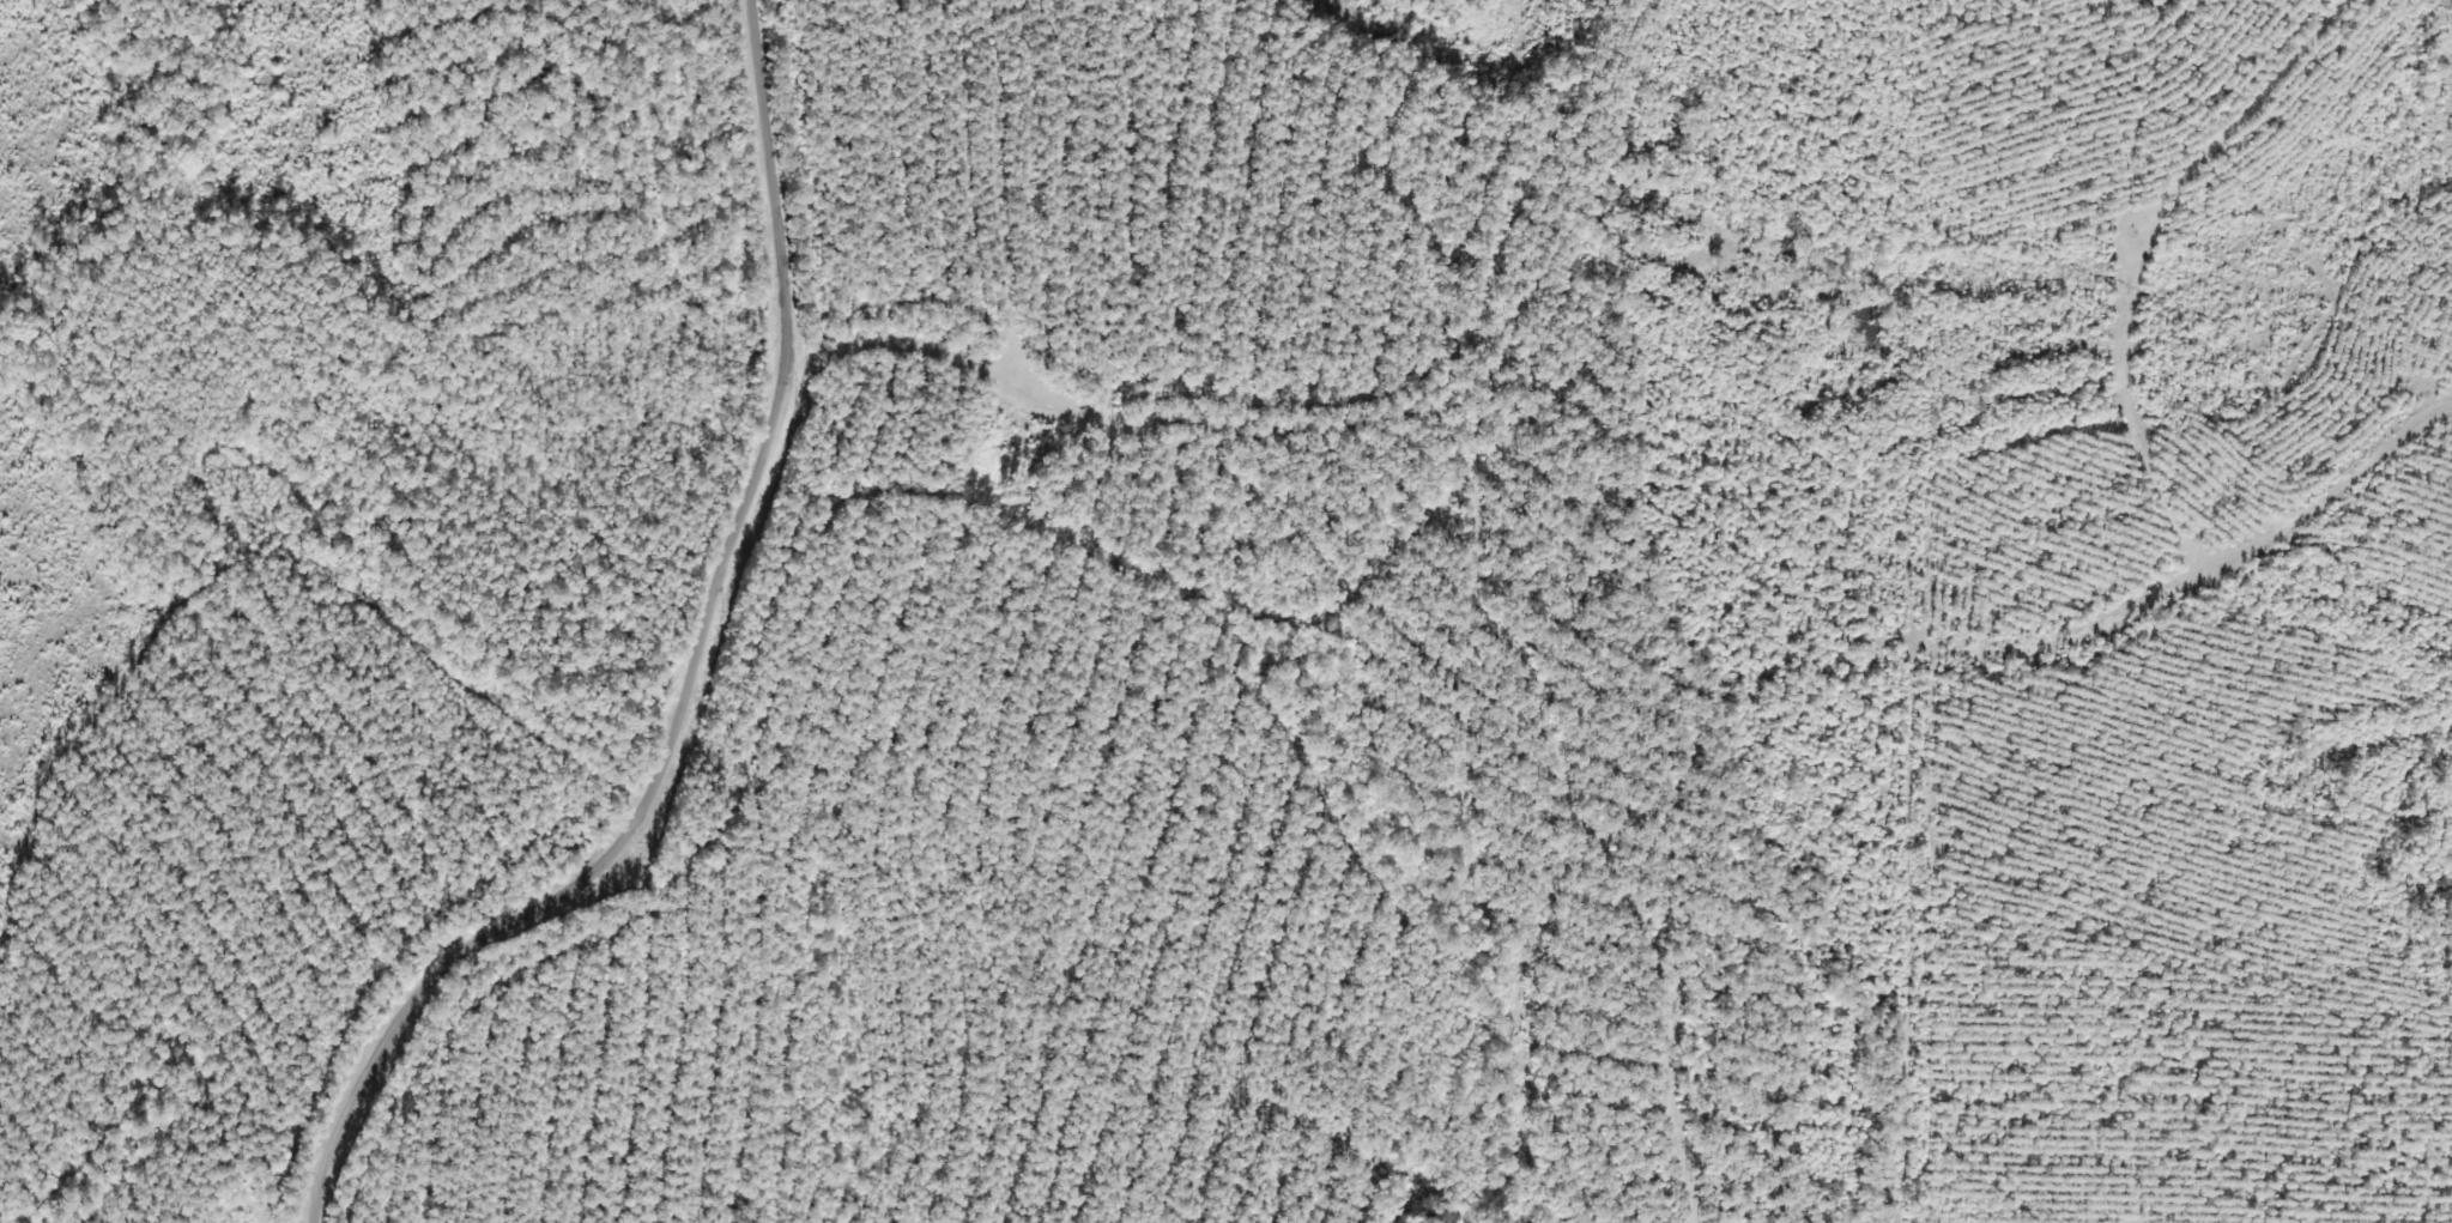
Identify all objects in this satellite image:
road: (616, 671)

